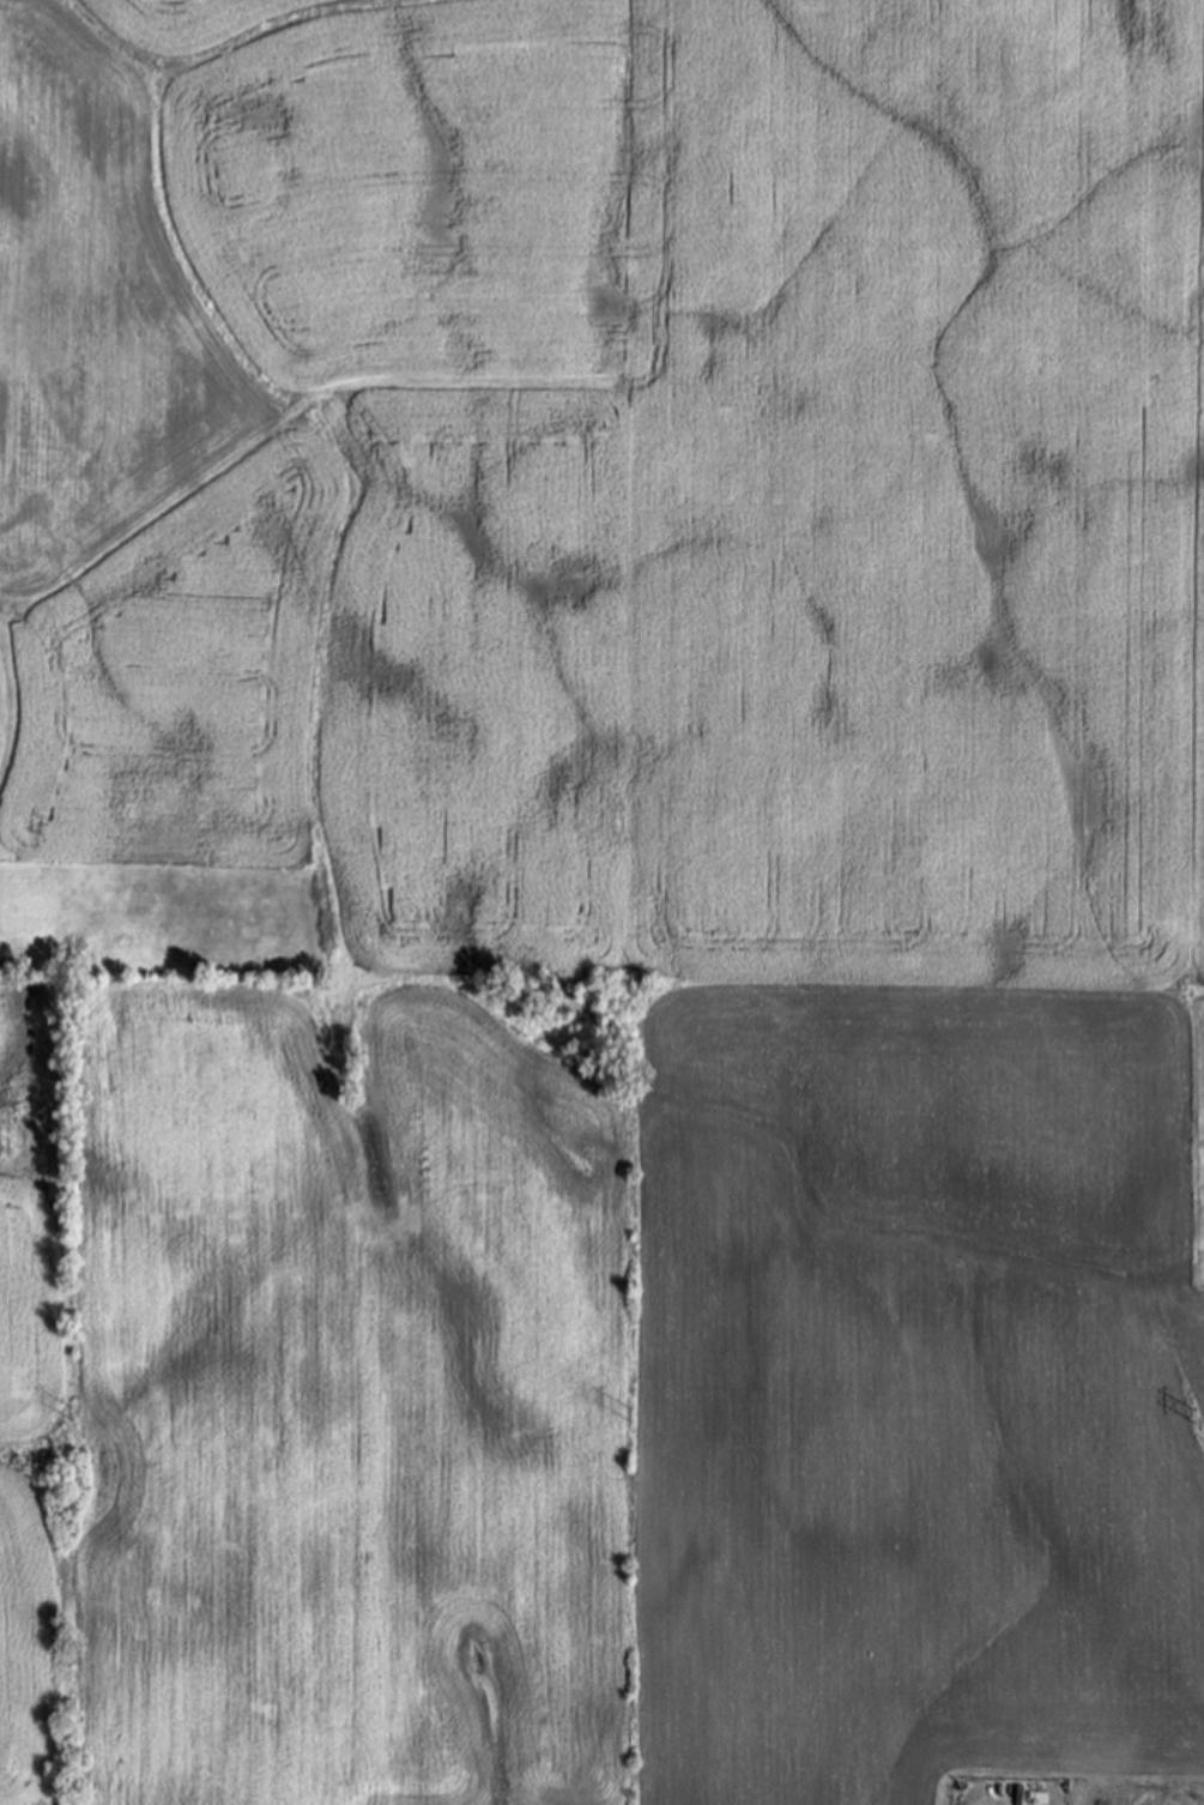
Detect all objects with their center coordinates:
power tower: (71, 1414)
power tower: (635, 1418)
power tower: (1199, 1419)

